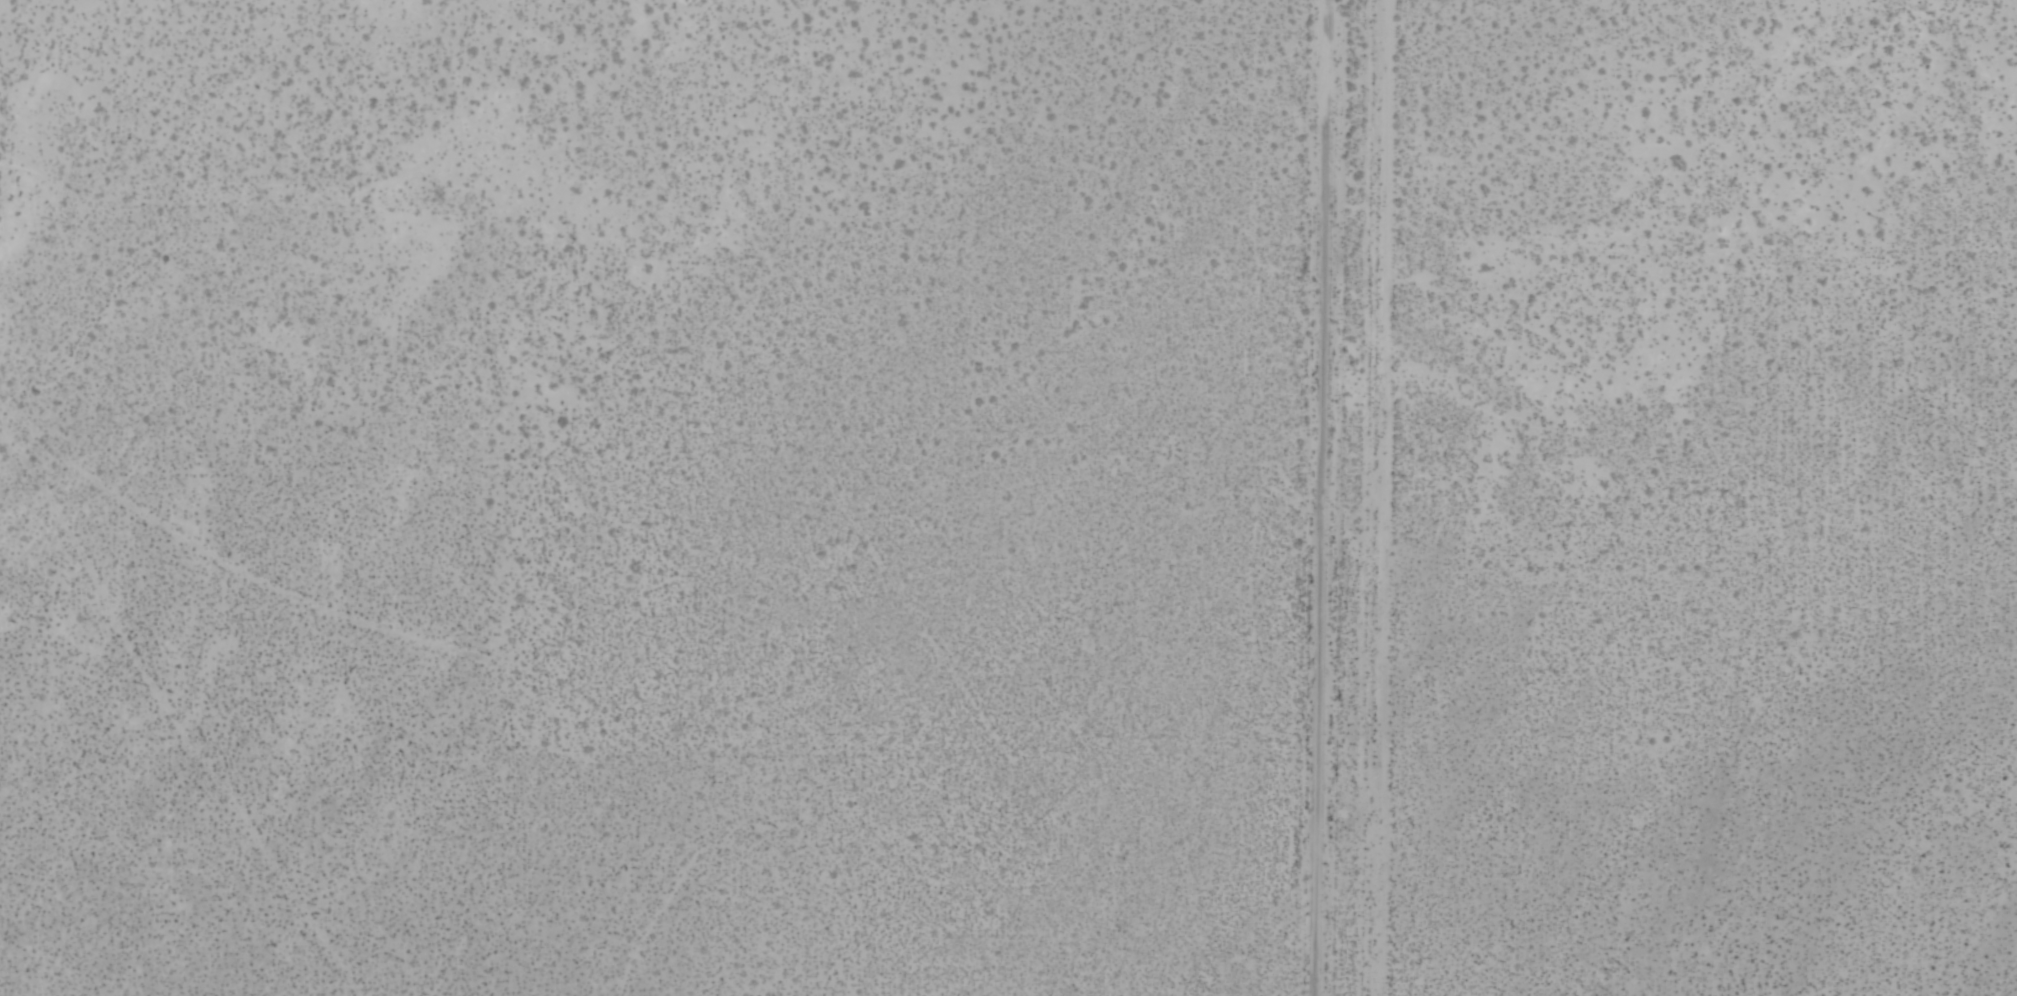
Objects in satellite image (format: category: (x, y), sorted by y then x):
road: (1322, 498)
airport: (1714, 499)

